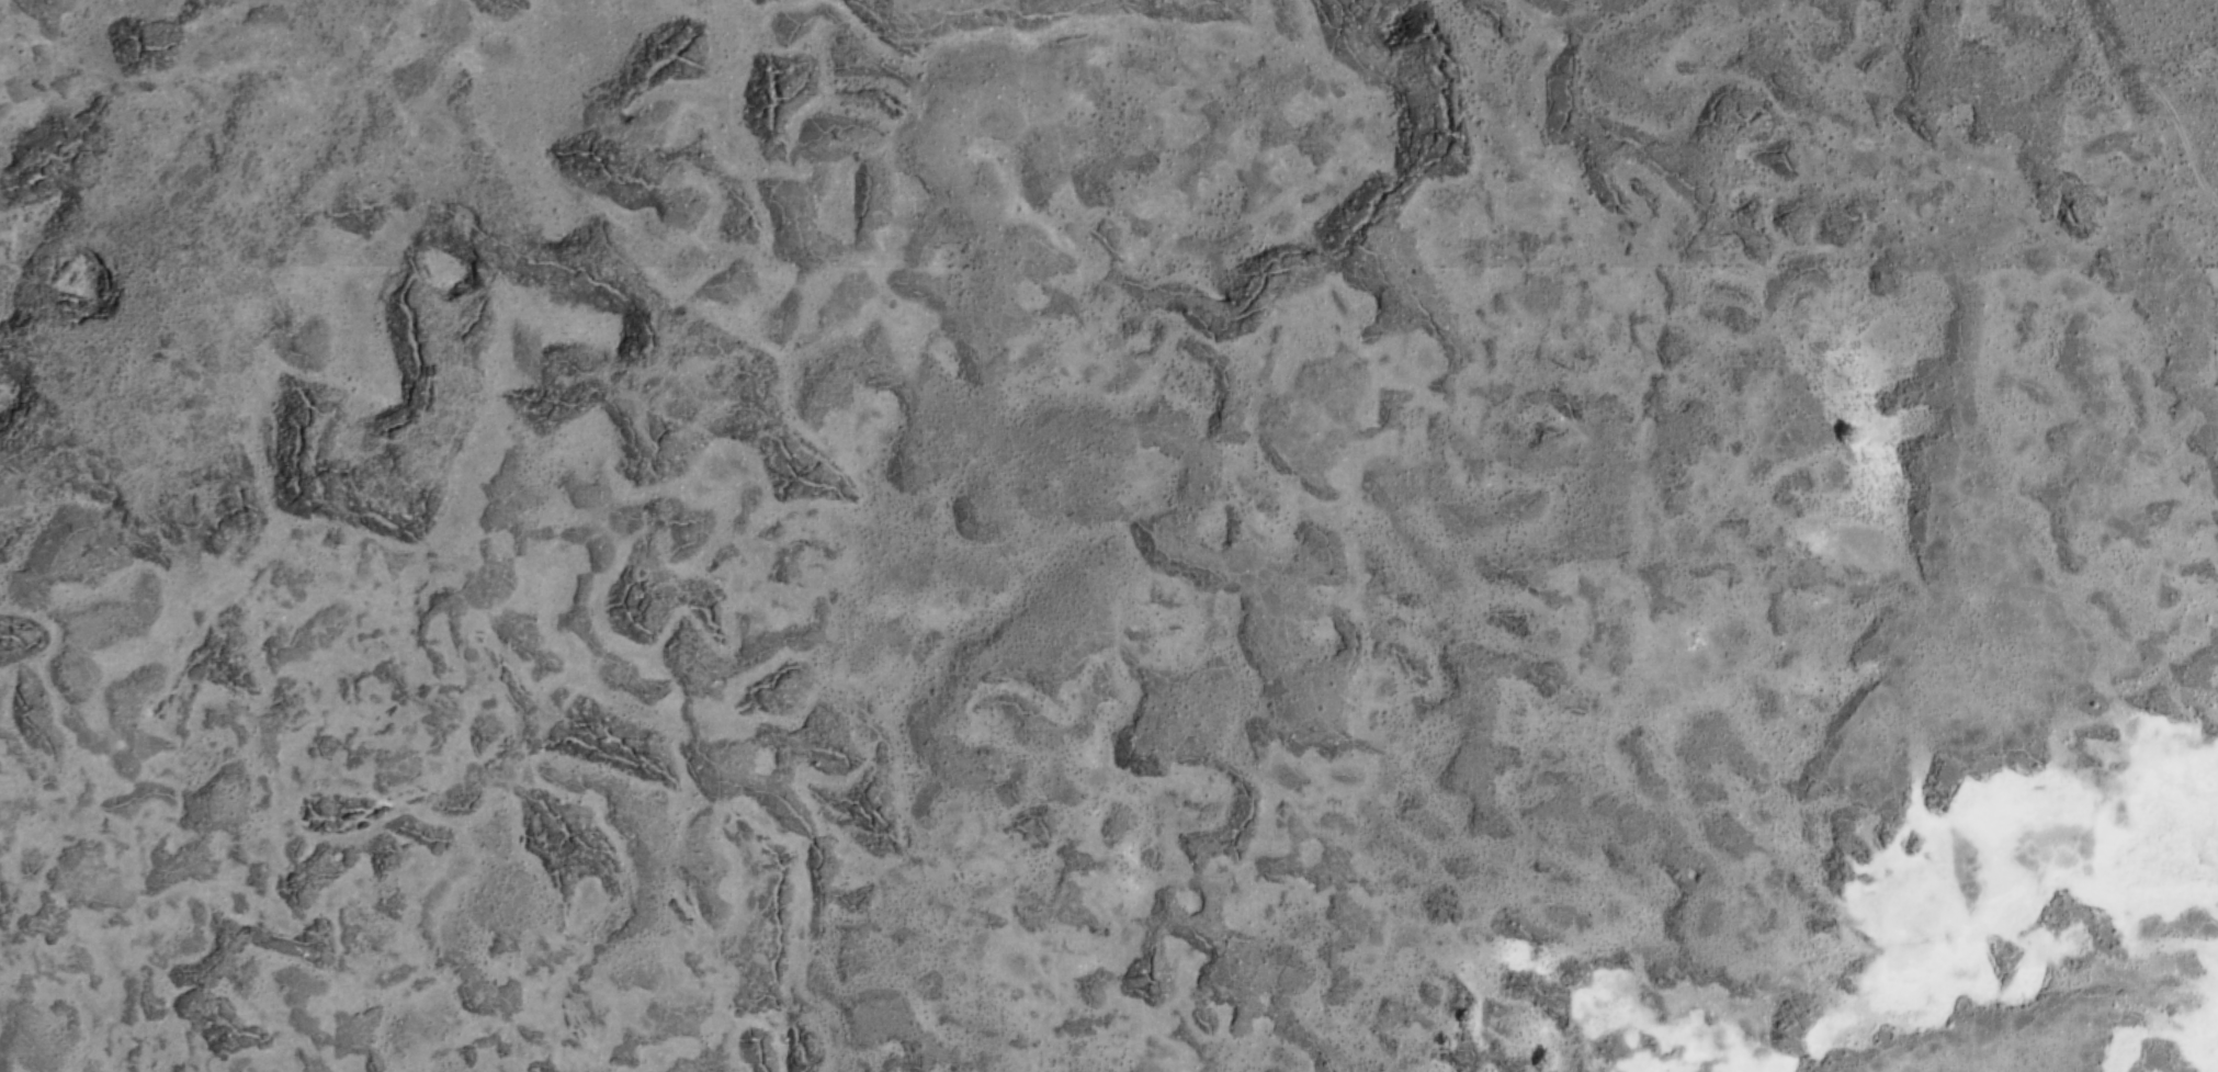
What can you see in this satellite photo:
road: (2159, 99)

